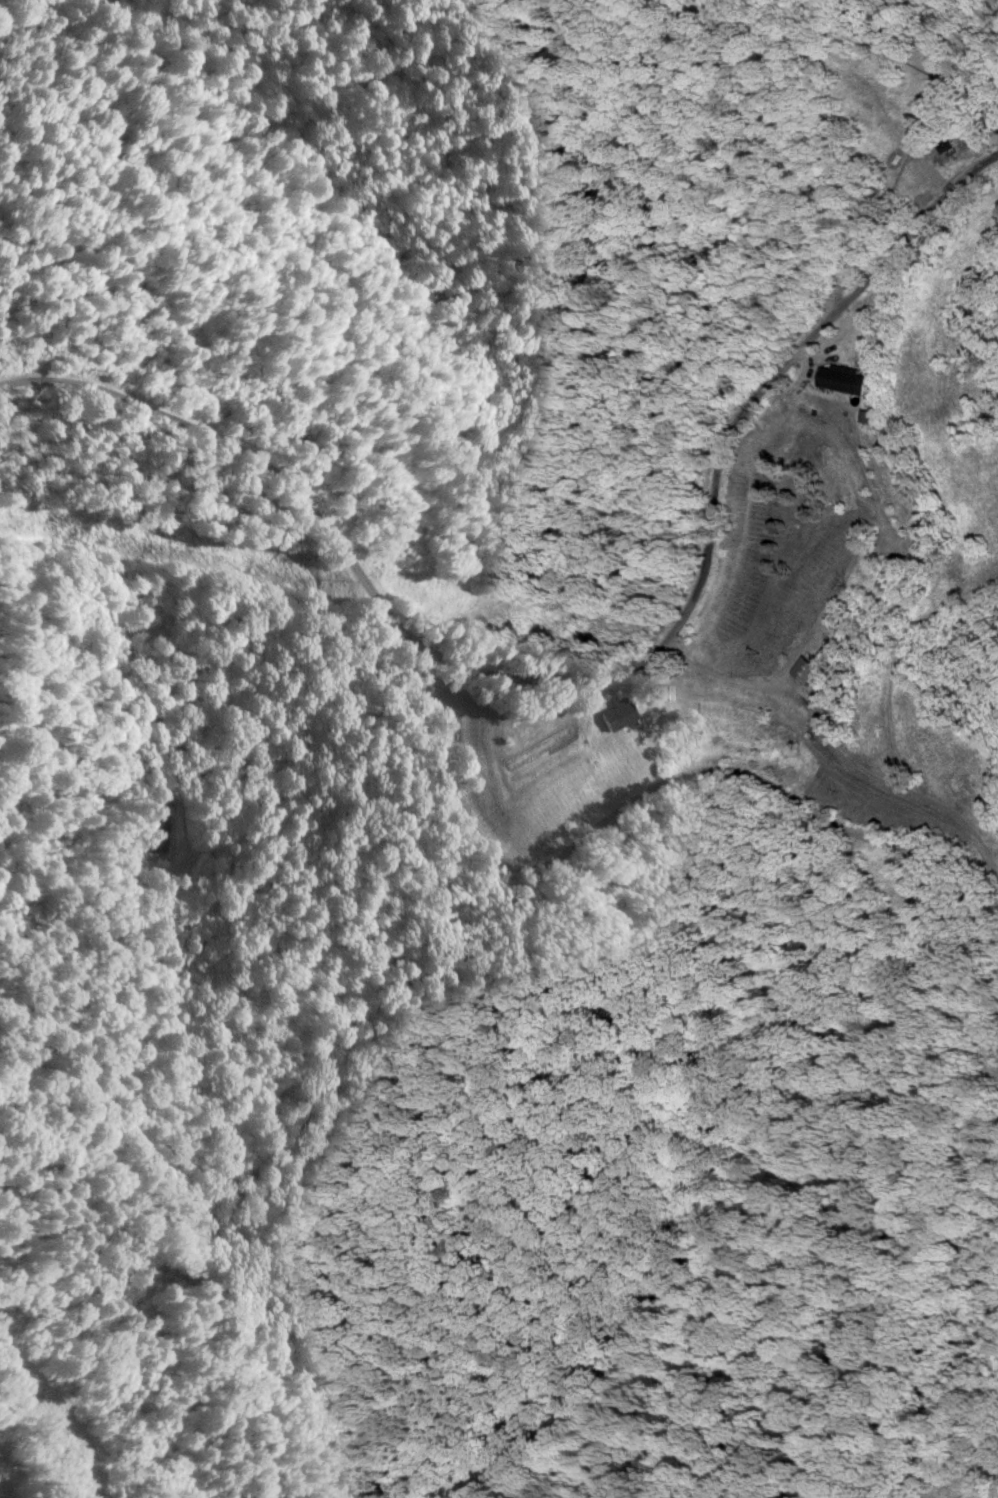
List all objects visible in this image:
building: (846, 379)
building: (809, 671)
road: (587, 675)
building: (618, 715)

